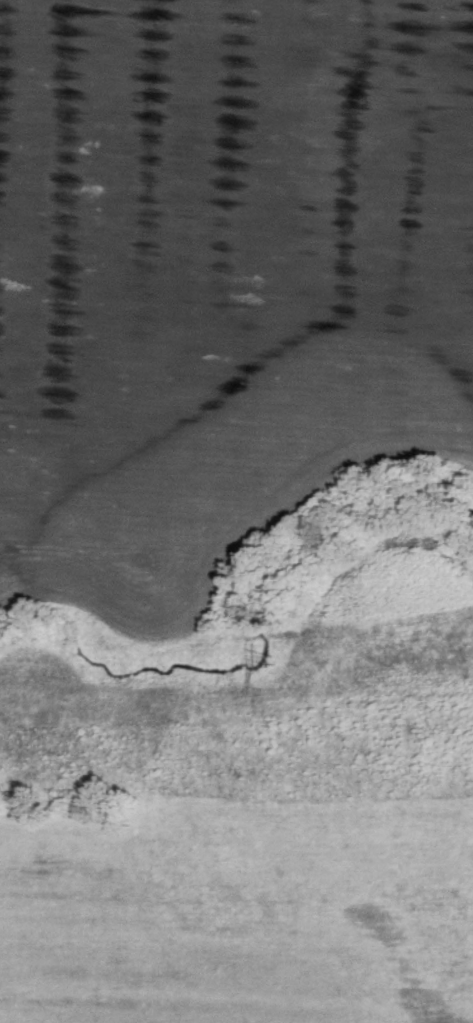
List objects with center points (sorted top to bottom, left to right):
power tower: (282, 662)

